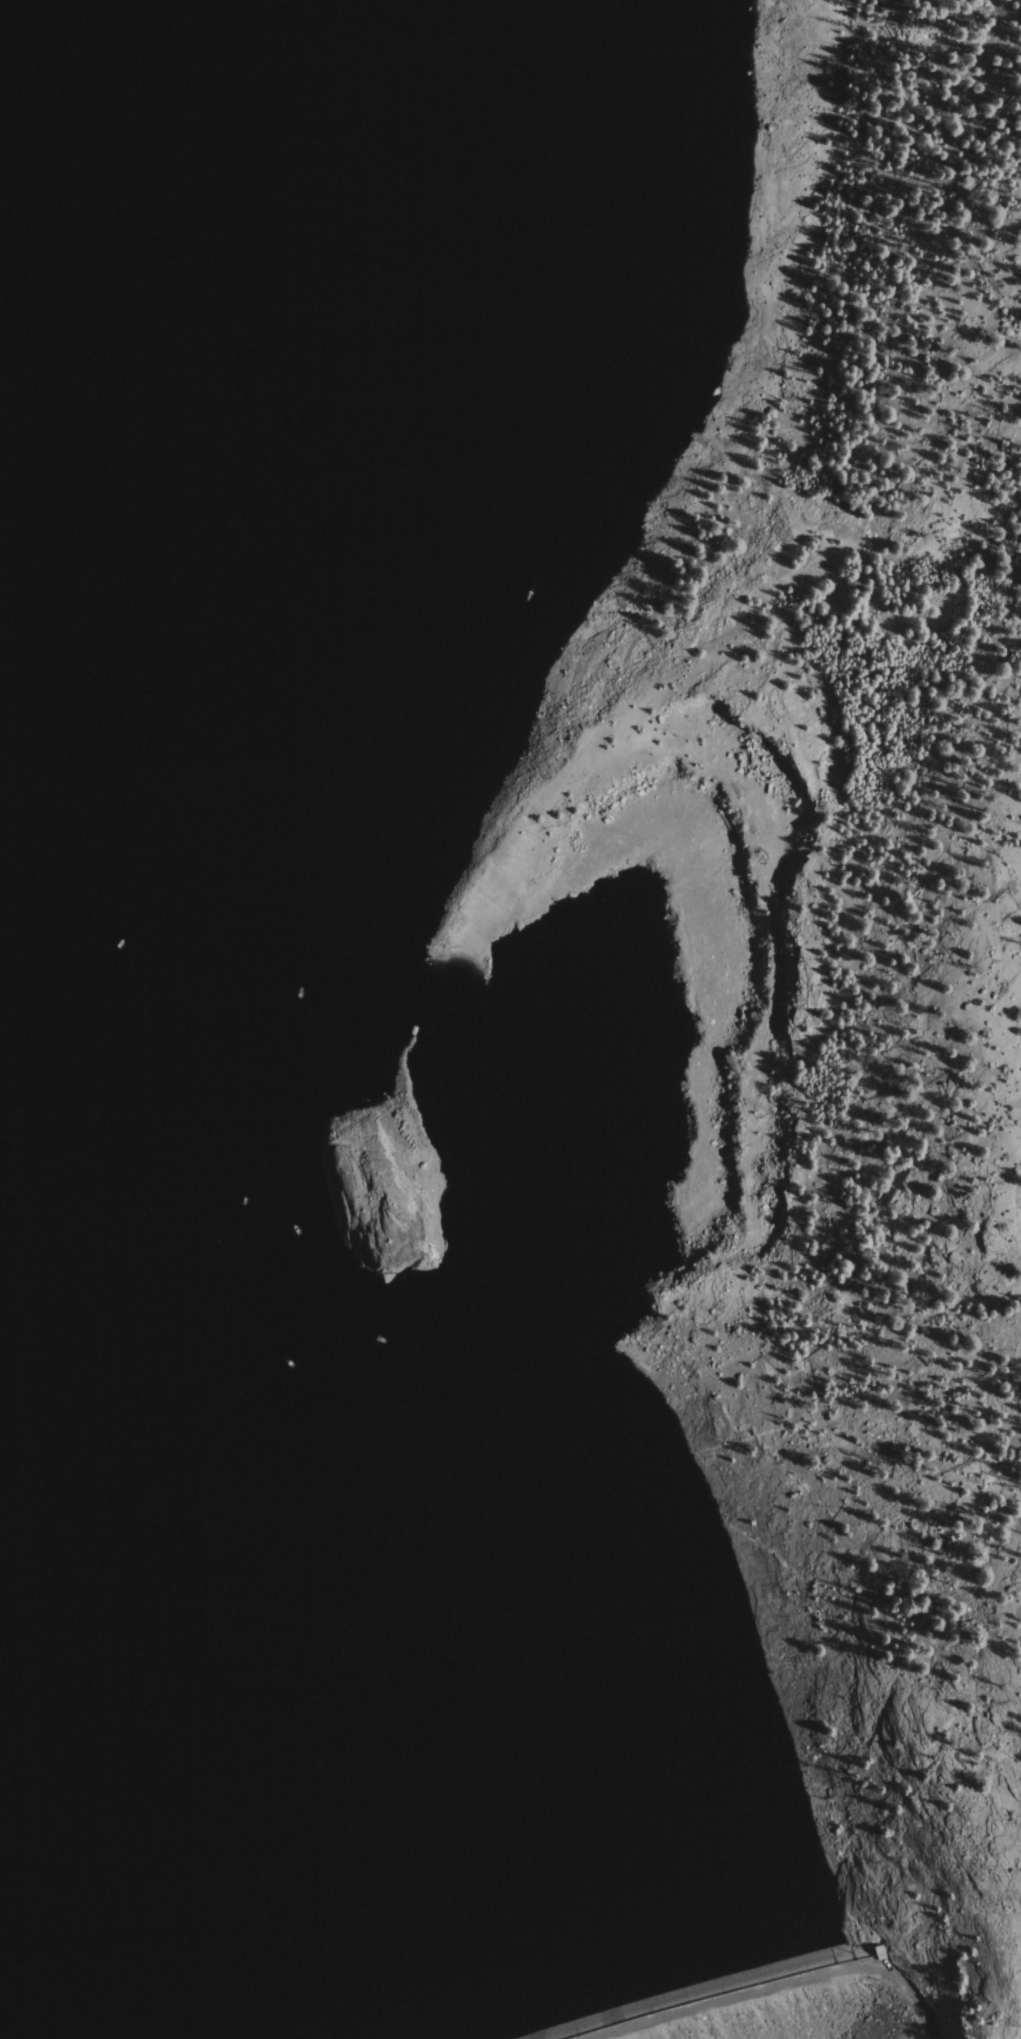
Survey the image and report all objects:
road: (791, 1982)
dam: (774, 2008)

